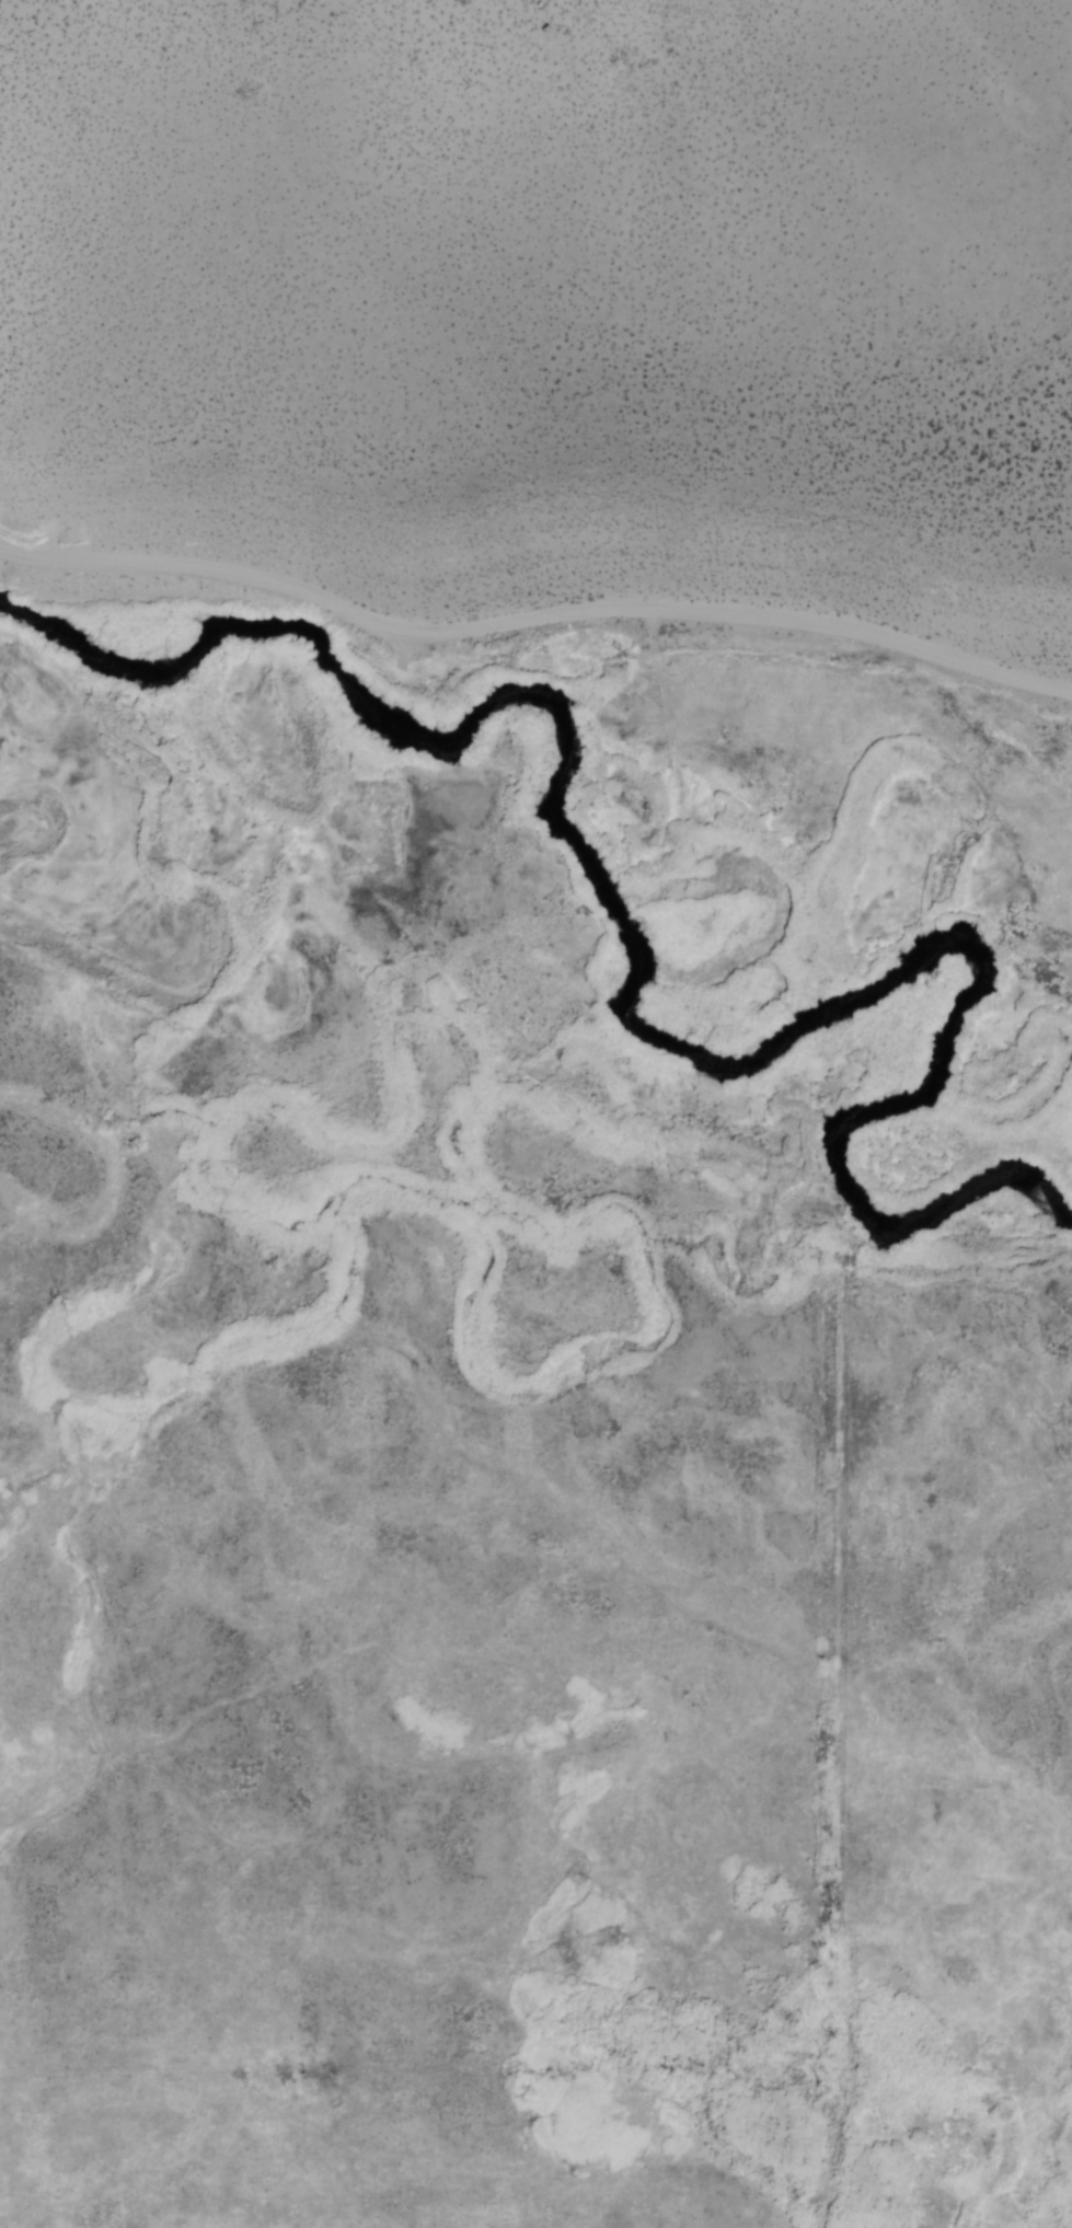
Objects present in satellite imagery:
road: (533, 619)
river: (604, 891)
river: (944, 1224)

